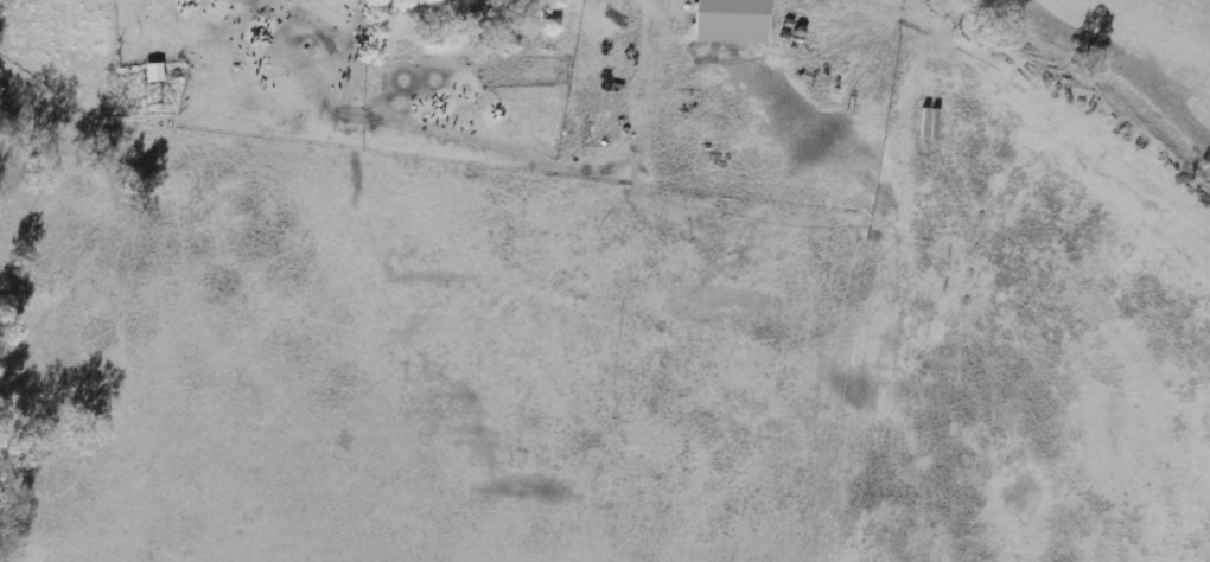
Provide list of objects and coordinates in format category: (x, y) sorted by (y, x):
building: (471, 7)
building: (732, 21)

